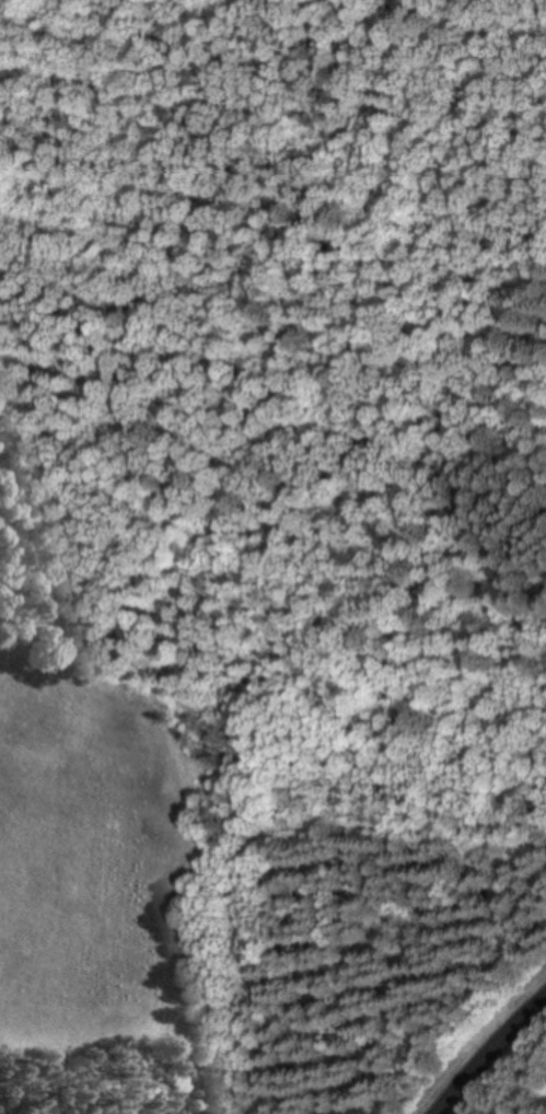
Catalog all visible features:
road: (492, 1056)

